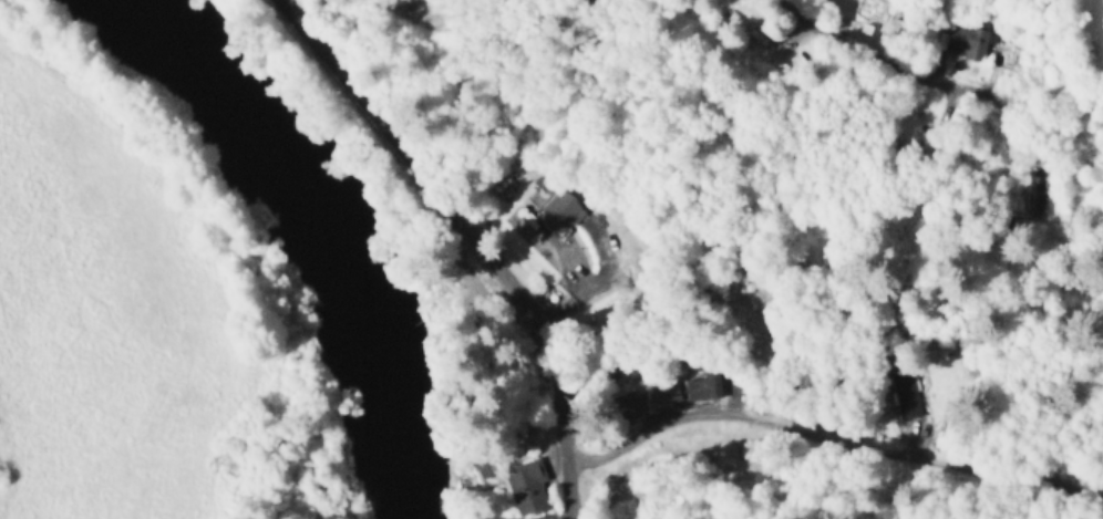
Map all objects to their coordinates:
building: (969, 39)
road: (934, 84)
building: (561, 208)
river: (310, 228)
road: (471, 245)
building: (664, 390)
building: (625, 403)
building: (909, 403)
road: (818, 434)
building: (527, 486)
road: (1087, 490)

